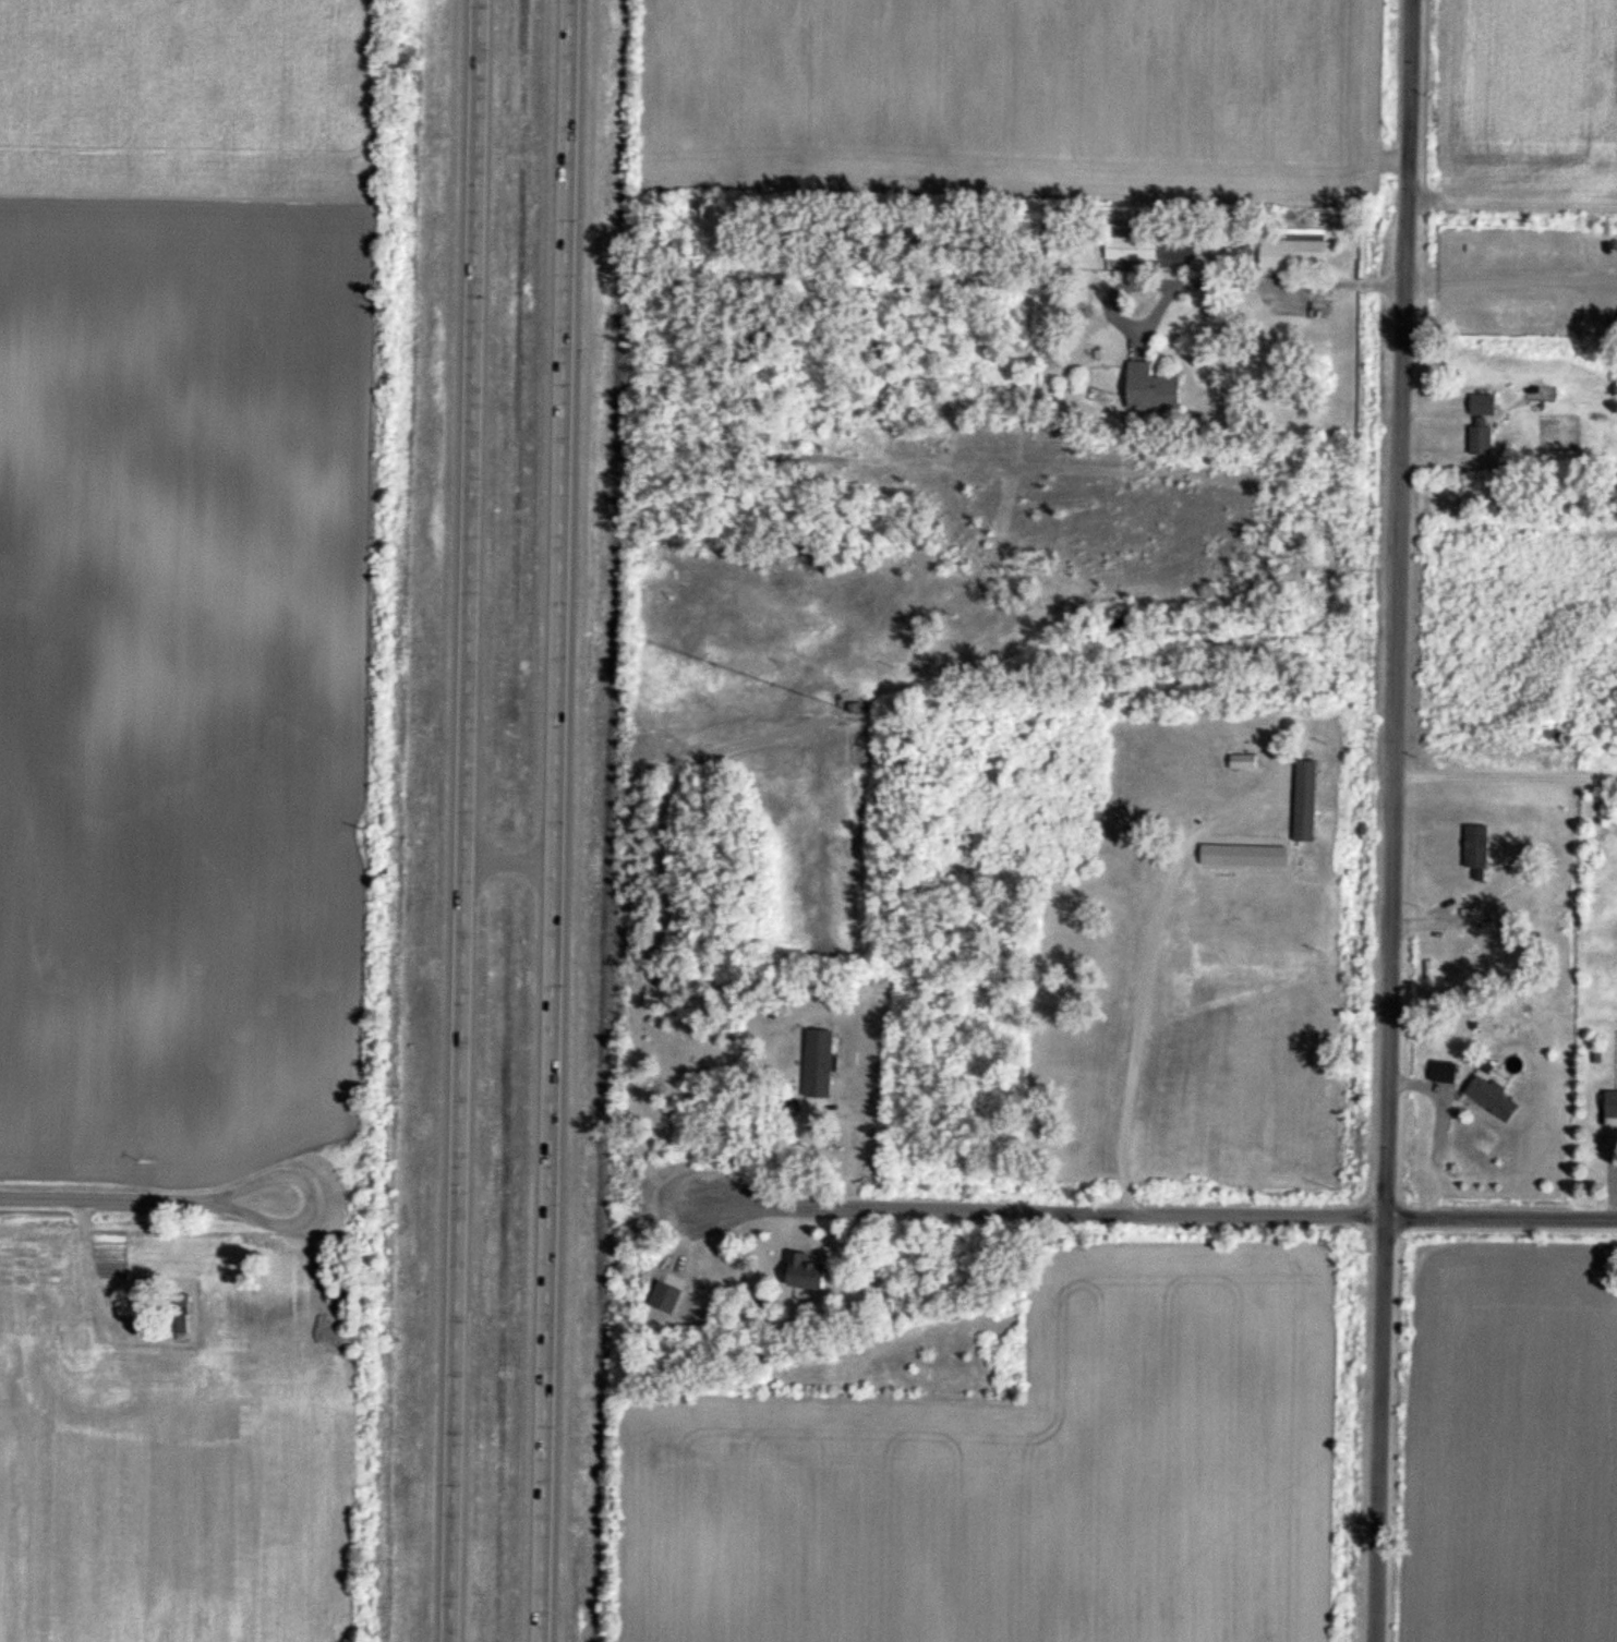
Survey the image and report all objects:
building: (1150, 246)
building: (1298, 251)
road: (1509, 274)
road: (1202, 287)
building: (1151, 389)
building: (1481, 407)
building: (1482, 437)
building: (858, 714)
building: (1243, 764)
road: (1504, 769)
building: (1305, 804)
road: (1390, 820)
road: (461, 821)
road: (557, 821)
building: (1476, 849)
road: (509, 859)
building: (819, 1064)
building: (1492, 1098)
building: (1610, 1106)
road: (144, 1196)
road: (1155, 1209)
building: (804, 1273)
building: (179, 1314)
building: (70, 1338)

